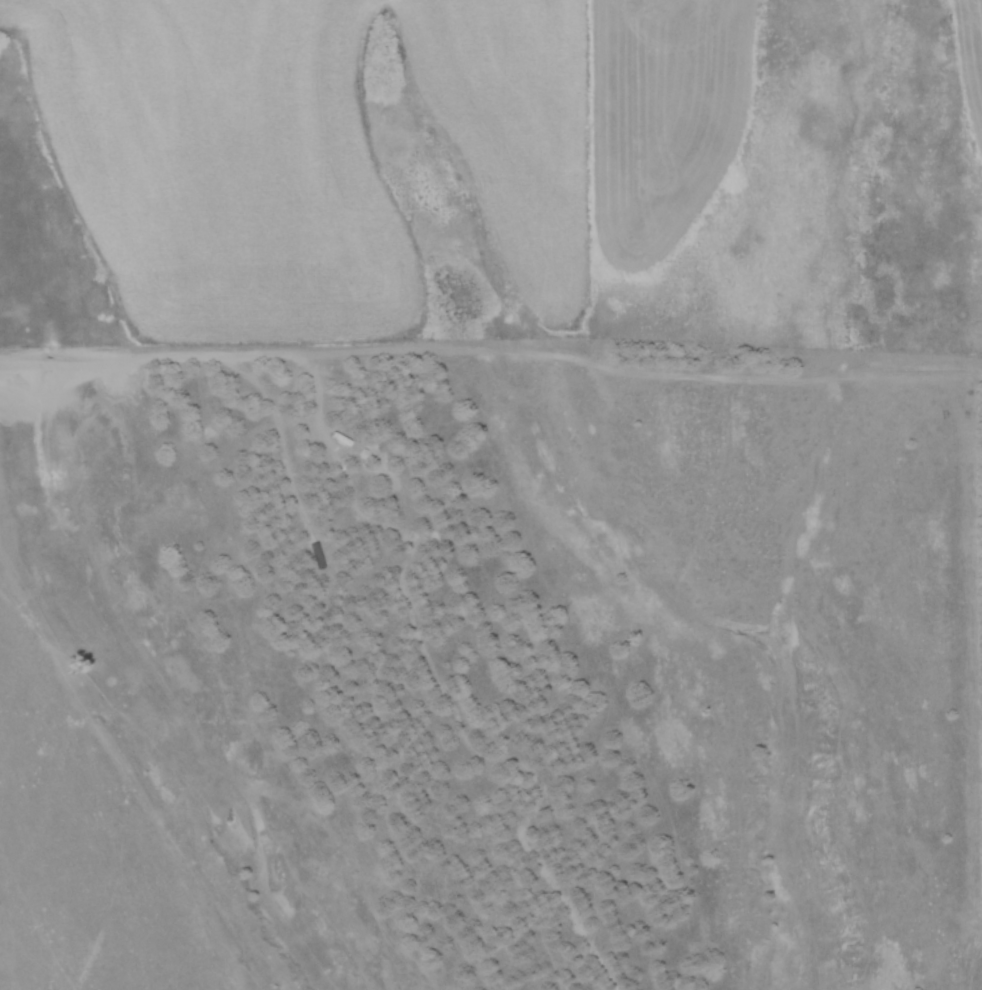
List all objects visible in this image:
crop: (970, 49)
crop: (663, 110)

